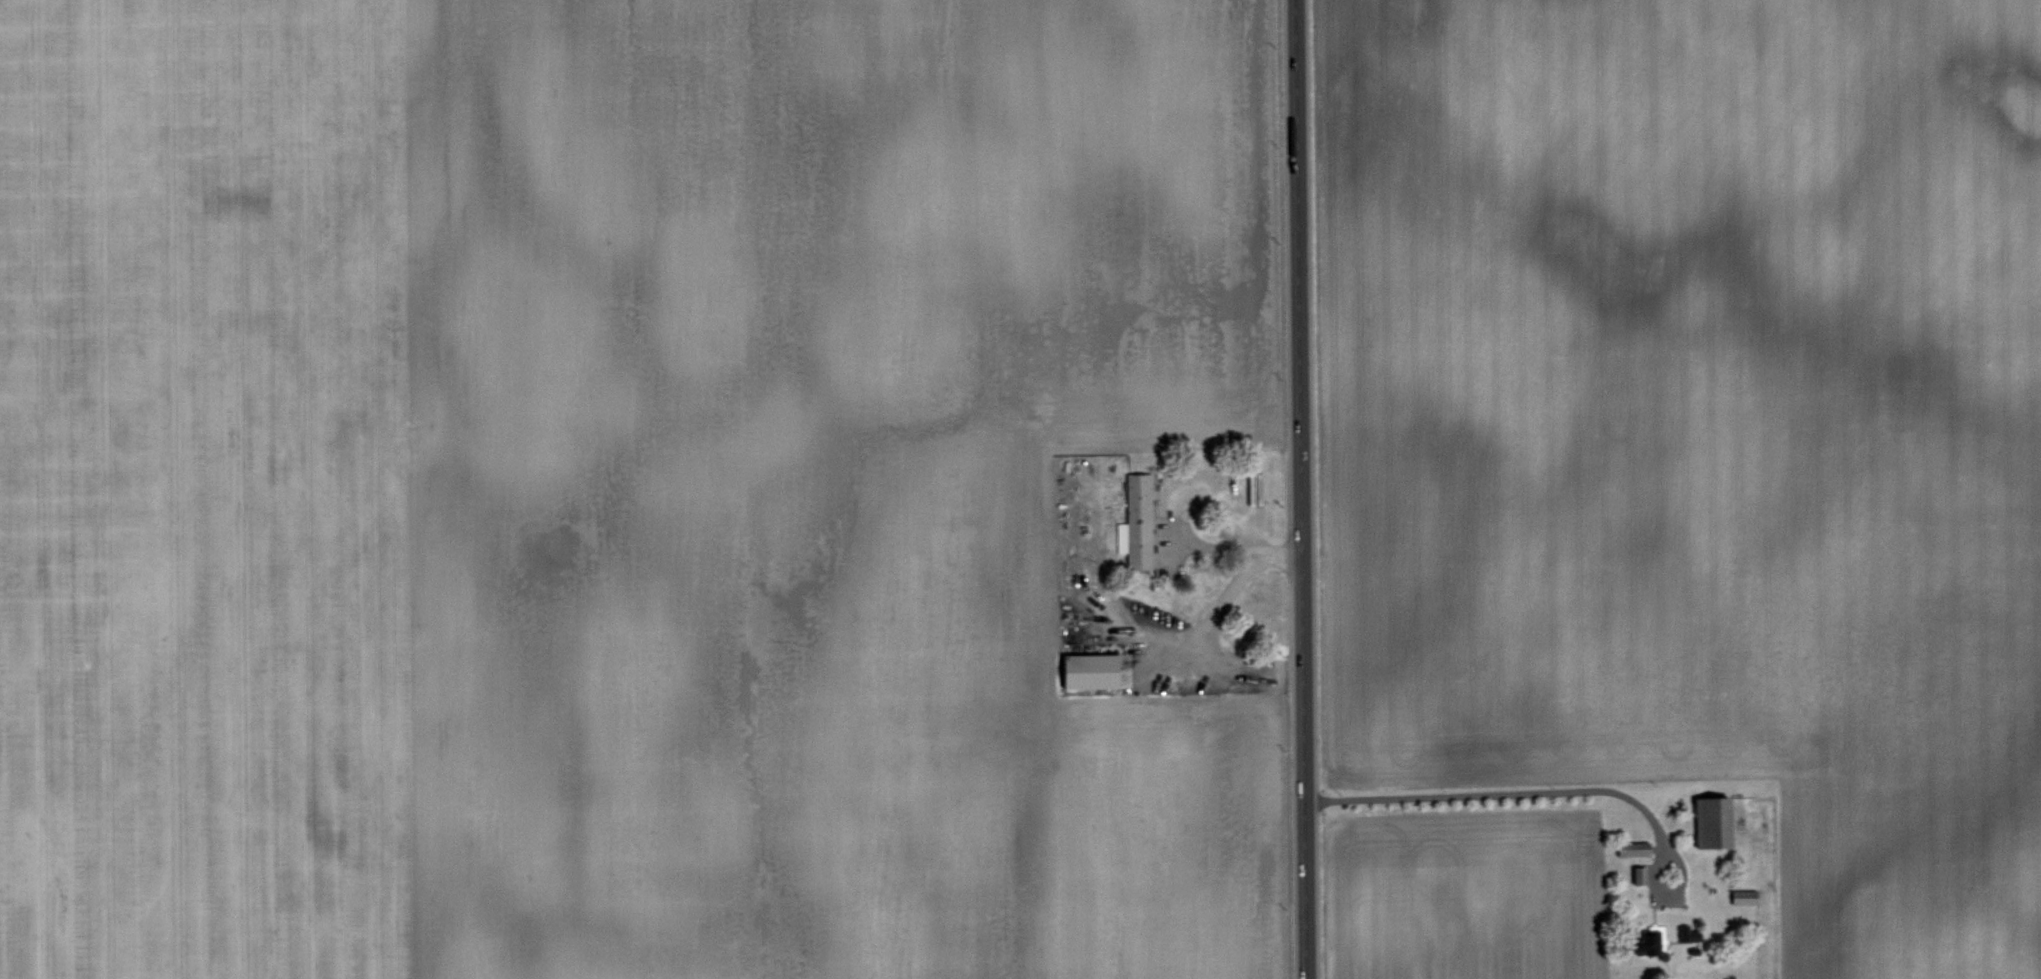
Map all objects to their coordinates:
road: (1300, 489)
building: (1134, 520)
road: (1209, 541)
road: (1220, 597)
building: (1085, 668)
road: (1534, 790)
building: (1708, 819)
building: (1630, 847)
building: (1637, 873)
building: (1741, 895)
building: (1685, 931)
building: (1648, 941)

